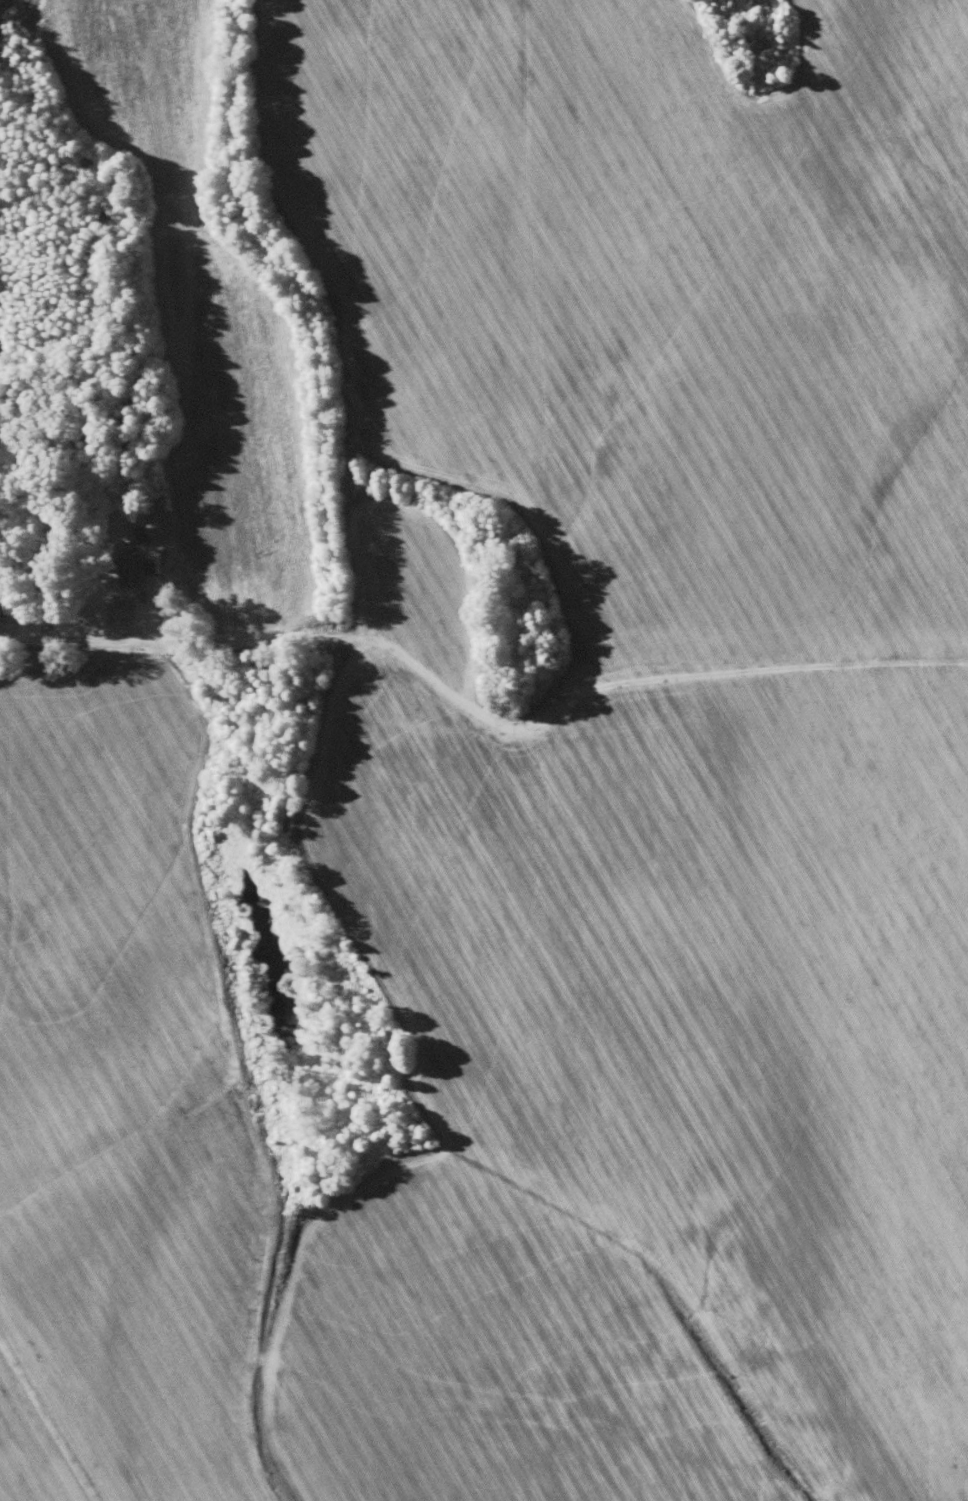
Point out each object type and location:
road: (145, 555)
building: (132, 572)
road: (74, 642)

